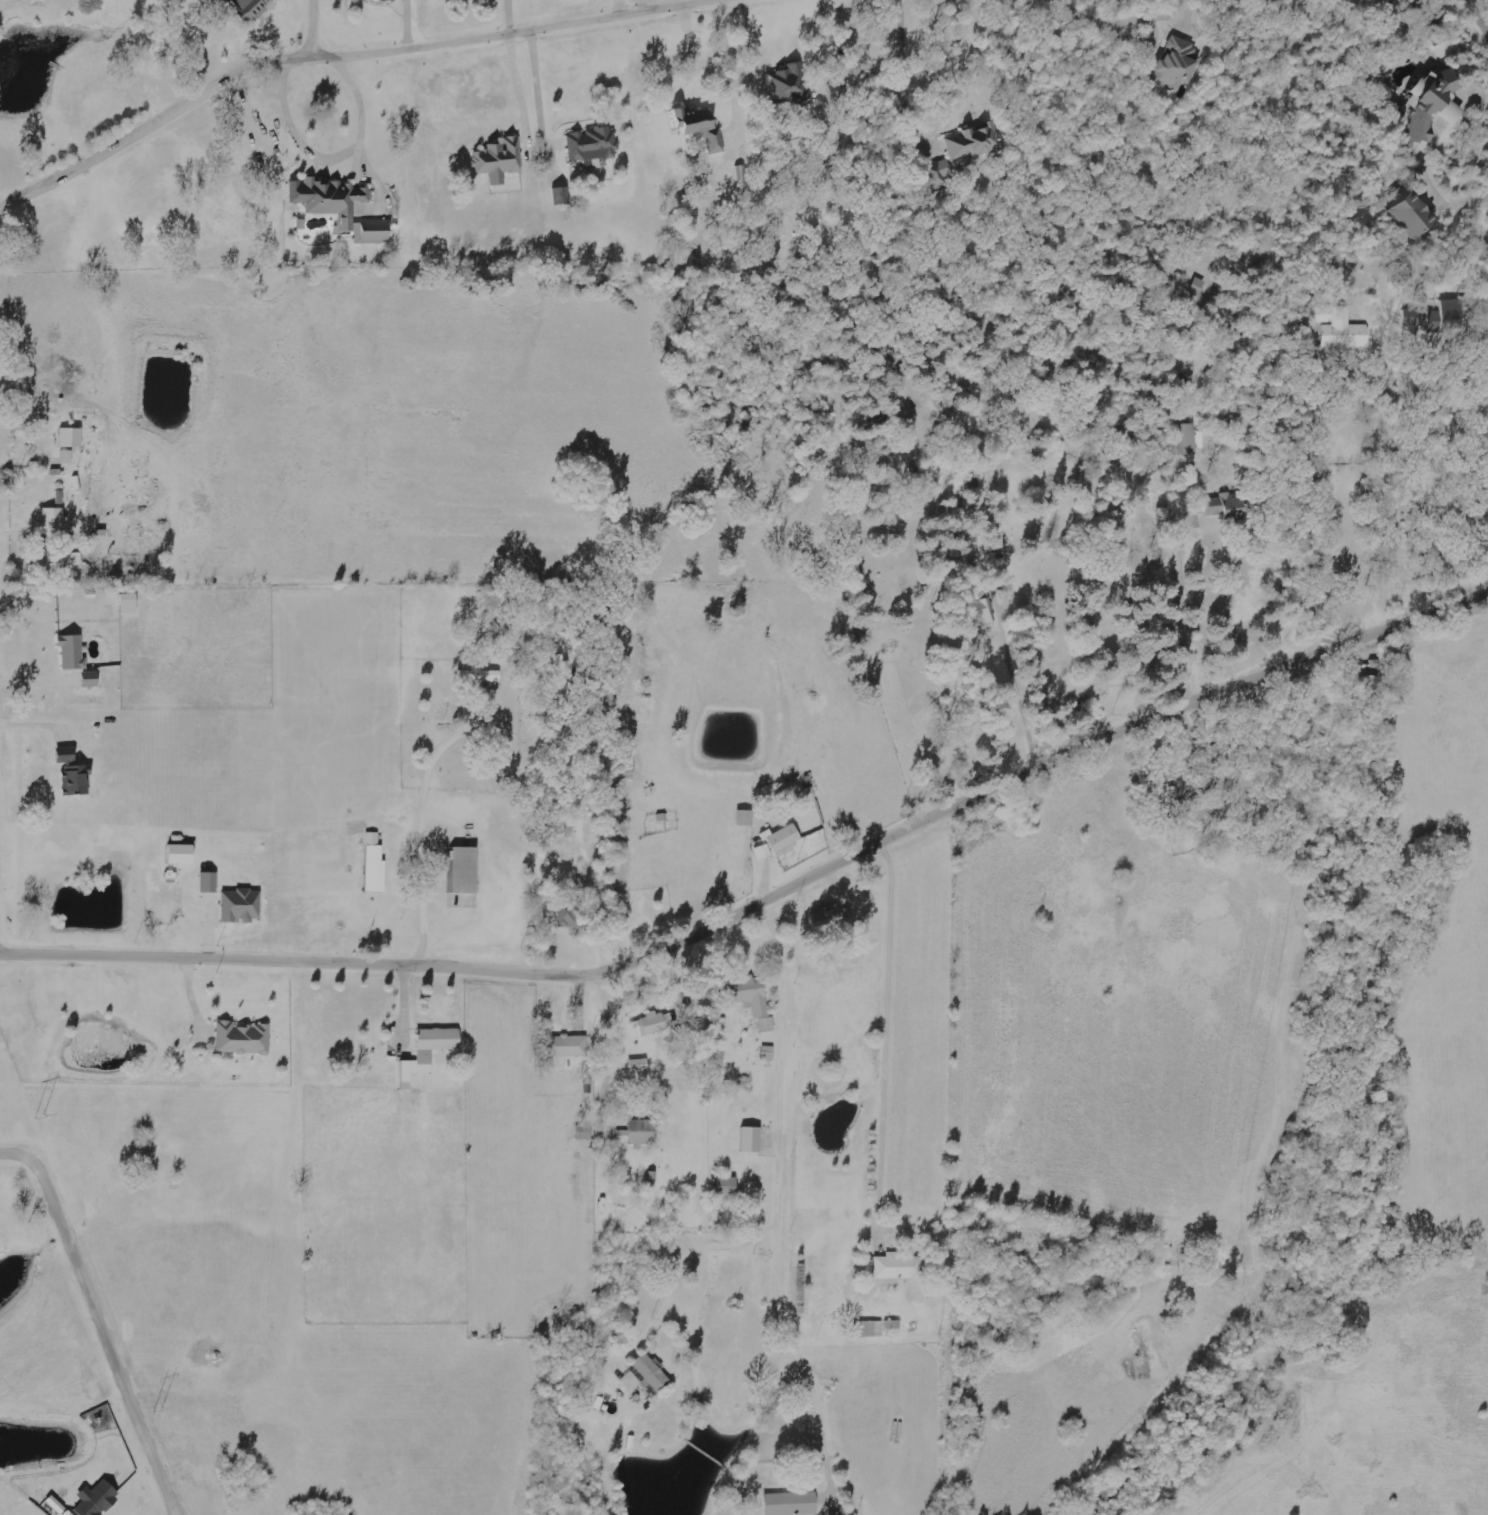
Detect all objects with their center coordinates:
building: (390, 0)
building: (250, 8)
road: (1477, 18)
road: (313, 27)
road: (502, 31)
building: (1177, 63)
building: (791, 85)
building: (1434, 104)
building: (701, 126)
road: (130, 139)
building: (974, 141)
building: (593, 144)
building: (500, 159)
building: (939, 171)
building: (562, 196)
building: (346, 208)
building: (1415, 216)
building: (1439, 316)
building: (1341, 327)
road: (1061, 330)
road: (1466, 420)
road: (769, 431)
building: (72, 436)
building: (1188, 439)
building: (67, 455)
building: (1232, 501)
building: (53, 519)
building: (58, 559)
building: (129, 602)
building: (983, 610)
building: (73, 652)
road: (978, 654)
building: (483, 680)
building: (92, 682)
building: (74, 772)
building: (627, 772)
road: (985, 799)
road: (179, 809)
building: (555, 830)
building: (786, 839)
building: (764, 851)
building: (183, 853)
road: (711, 854)
road: (2, 856)
building: (376, 864)
building: (466, 869)
building: (210, 881)
building: (242, 905)
building: (568, 912)
road: (990, 912)
building: (829, 918)
road: (367, 967)
building: (755, 998)
building: (655, 1022)
road: (1231, 1026)
building: (243, 1038)
building: (569, 1045)
building: (431, 1049)
building: (639, 1065)
road: (319, 1100)
building: (643, 1131)
building: (623, 1135)
building: (753, 1139)
building: (727, 1186)
building: (898, 1267)
road: (98, 1321)
building: (893, 1324)
building: (872, 1328)
building: (646, 1375)
building: (98, 1499)
building: (792, 1503)
building: (57, 1504)

